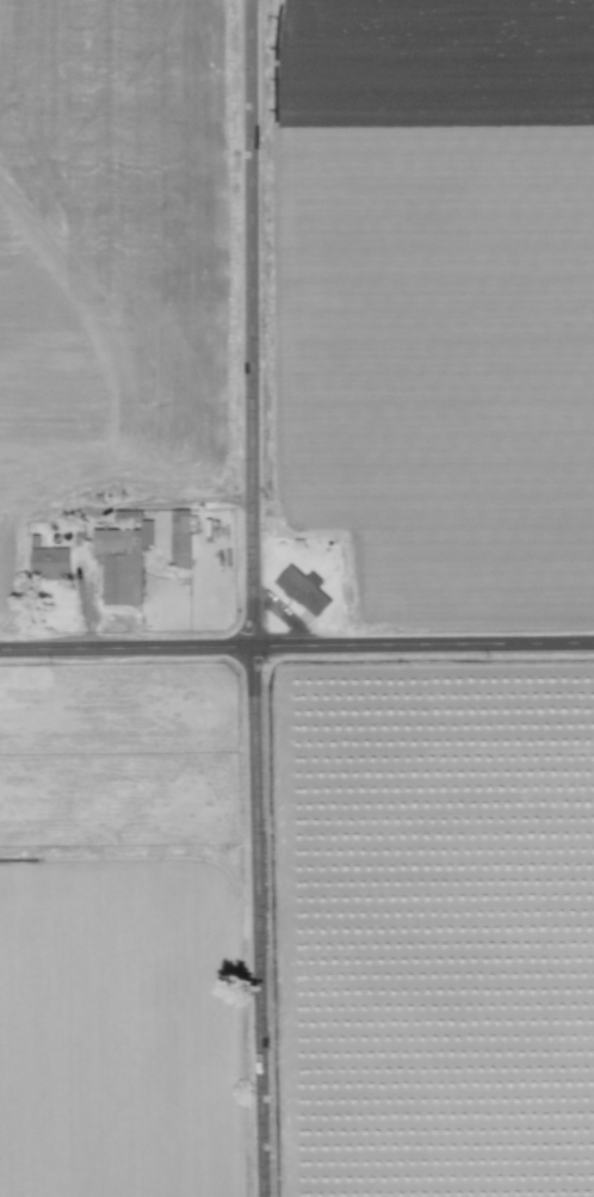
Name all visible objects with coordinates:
road: (169, 500)
building: (178, 538)
building: (120, 562)
building: (48, 564)
building: (302, 590)
road: (248, 598)
road: (296, 648)

